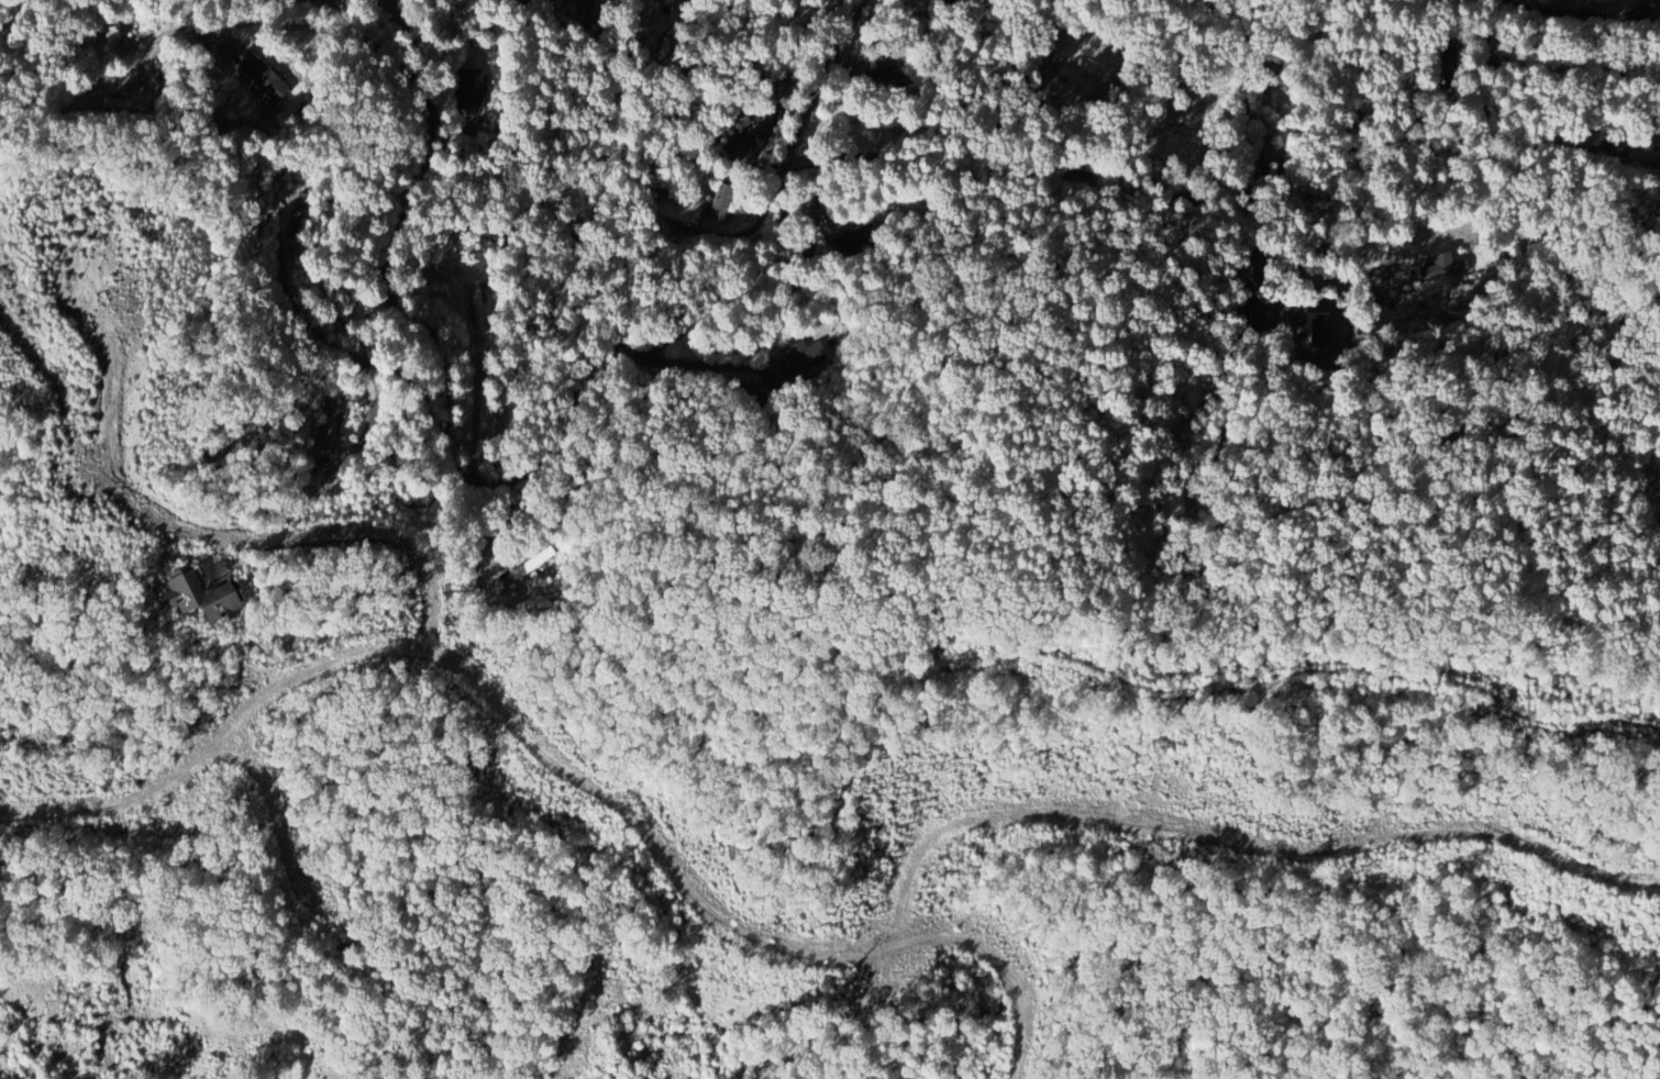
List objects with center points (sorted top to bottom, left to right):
road: (1573, 63)
building: (264, 76)
road: (1485, 77)
building: (125, 104)
building: (1649, 157)
road: (1236, 180)
road: (1240, 218)
road: (110, 336)
building: (803, 359)
road: (690, 361)
building: (330, 426)
road: (462, 483)
road: (213, 538)
road: (558, 759)
road: (1238, 844)

